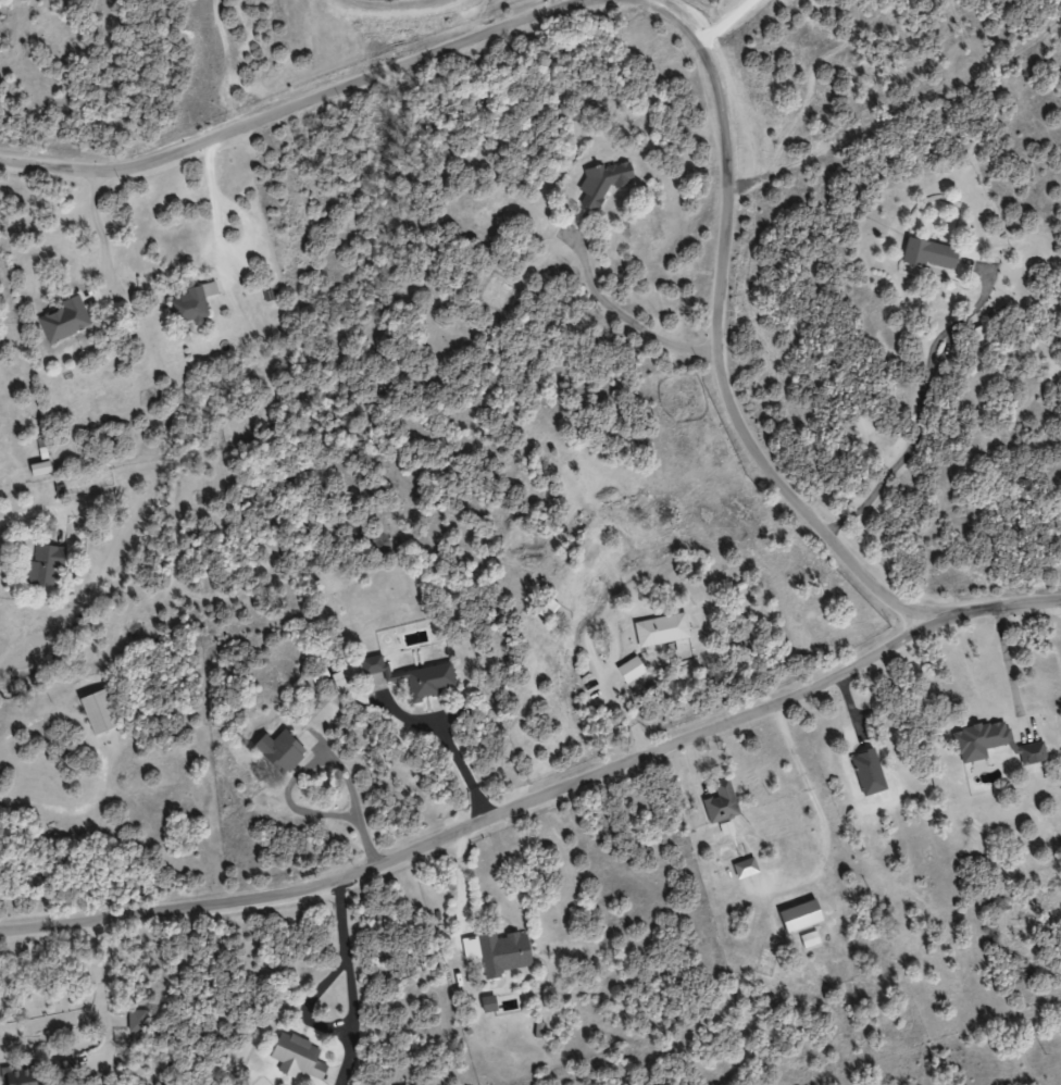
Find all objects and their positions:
road: (286, 108)
building: (597, 184)
building: (928, 253)
building: (190, 302)
building: (62, 319)
road: (724, 340)
building: (43, 565)
road: (1004, 600)
building: (660, 629)
building: (628, 670)
building: (316, 675)
building: (96, 712)
building: (991, 743)
building: (277, 751)
building: (719, 802)
road: (489, 815)
building: (742, 868)
building: (797, 915)
building: (495, 951)
building: (135, 1020)
building: (295, 1057)
building: (62, 1072)
building: (18, 1075)

